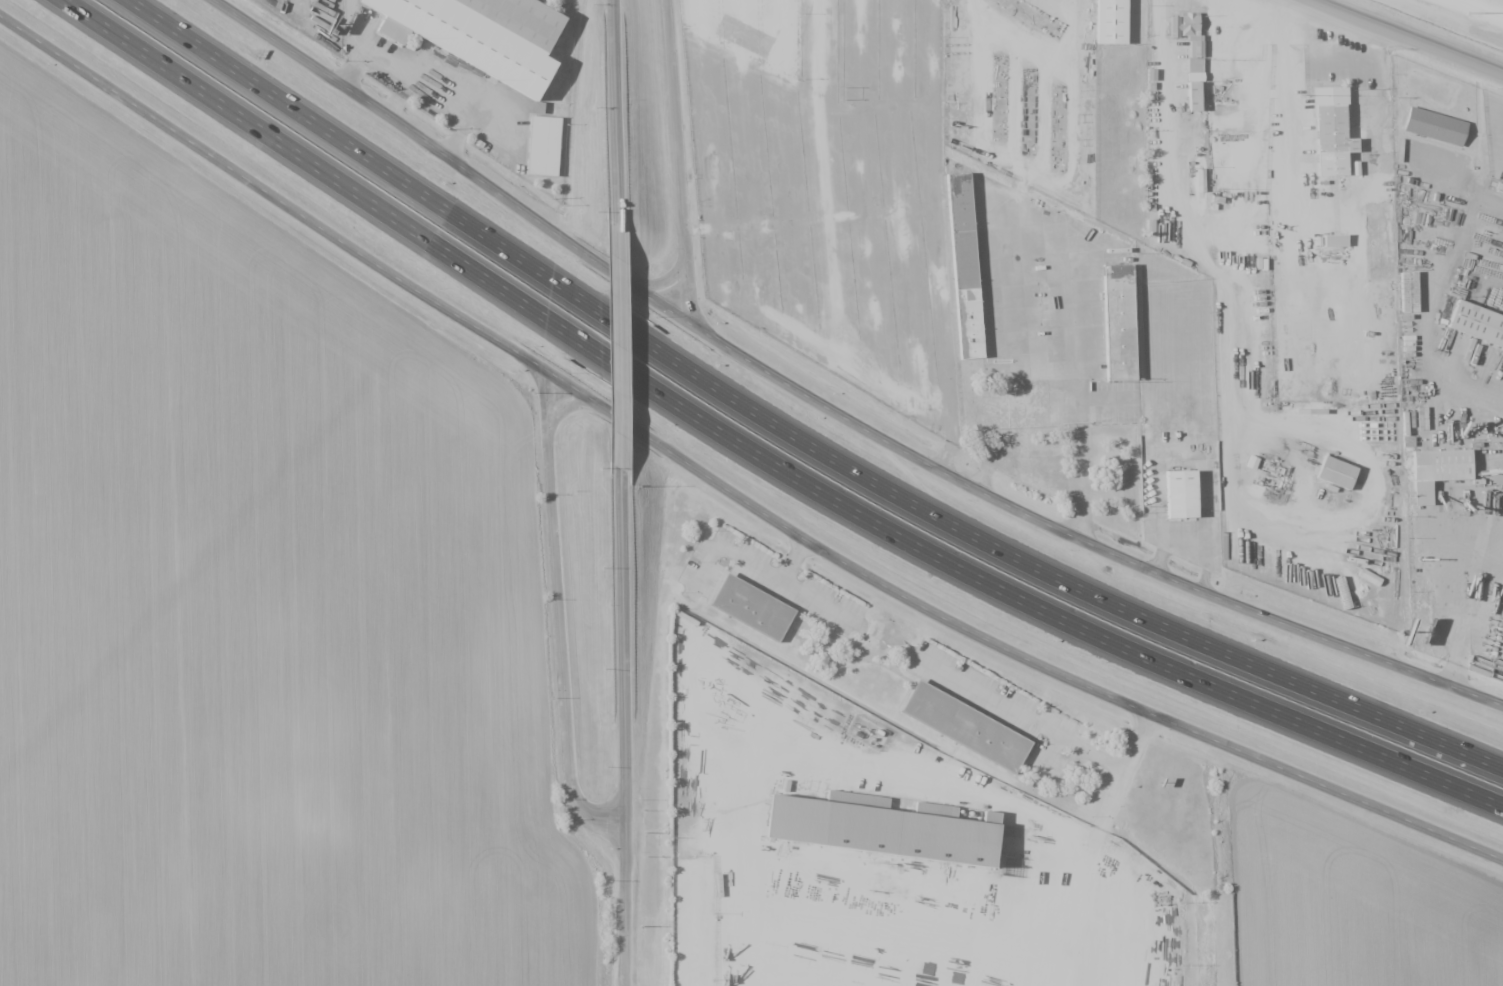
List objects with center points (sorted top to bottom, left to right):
power tower: (1467, 12)
building: (1117, 23)
road: (1427, 30)
building: (480, 34)
road: (361, 44)
building: (1190, 53)
road: (264, 85)
building: (1222, 91)
road: (431, 93)
road: (375, 104)
road: (617, 112)
road: (678, 128)
building: (1437, 128)
building: (1331, 132)
building: (548, 146)
road: (313, 167)
road: (294, 204)
building: (1334, 241)
road: (591, 249)
building: (969, 270)
road: (671, 276)
road: (561, 284)
road: (687, 286)
building: (1413, 295)
building: (1481, 325)
building: (1124, 327)
building: (1382, 345)
road: (617, 348)
road: (612, 361)
road: (543, 397)
building: (1052, 409)
road: (565, 410)
building: (1017, 415)
road: (630, 422)
building: (1437, 471)
building: (1341, 476)
building: (1187, 497)
road: (1058, 531)
road: (1104, 603)
crop: (257, 608)
building: (755, 611)
road: (1069, 623)
road: (563, 644)
road: (1071, 682)
road: (627, 728)
building: (973, 730)
building: (888, 838)
crop: (1349, 903)
building: (925, 913)

